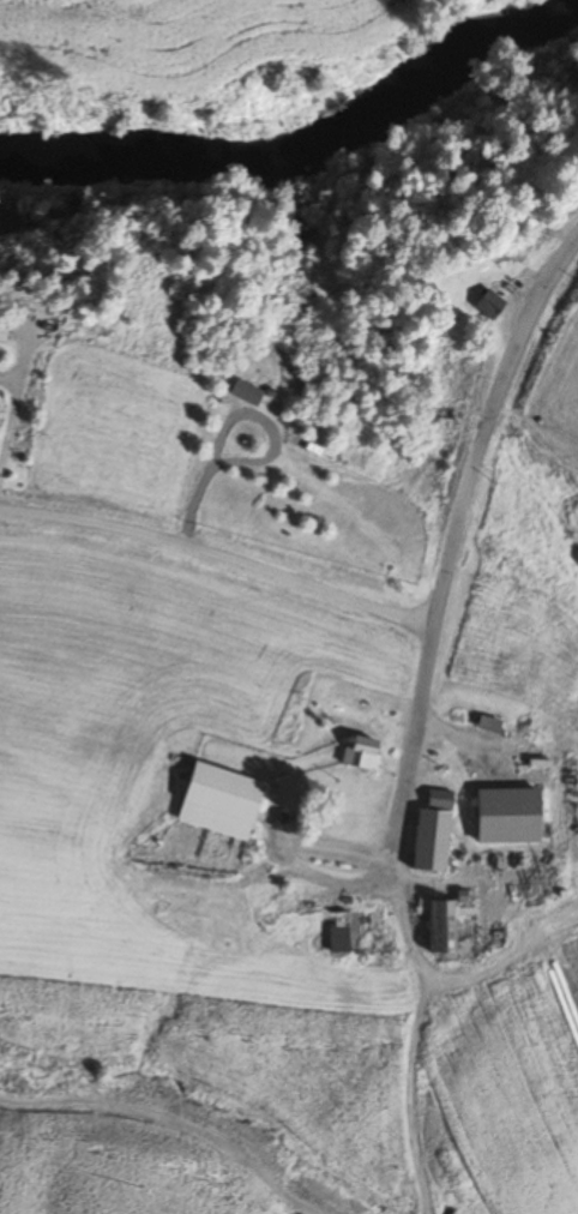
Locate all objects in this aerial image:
river: (263, 134)
building: (486, 276)
building: (488, 303)
road: (432, 404)
building: (267, 749)
building: (361, 752)
building: (219, 800)
building: (506, 815)
building: (432, 833)
building: (441, 927)
building: (353, 930)

